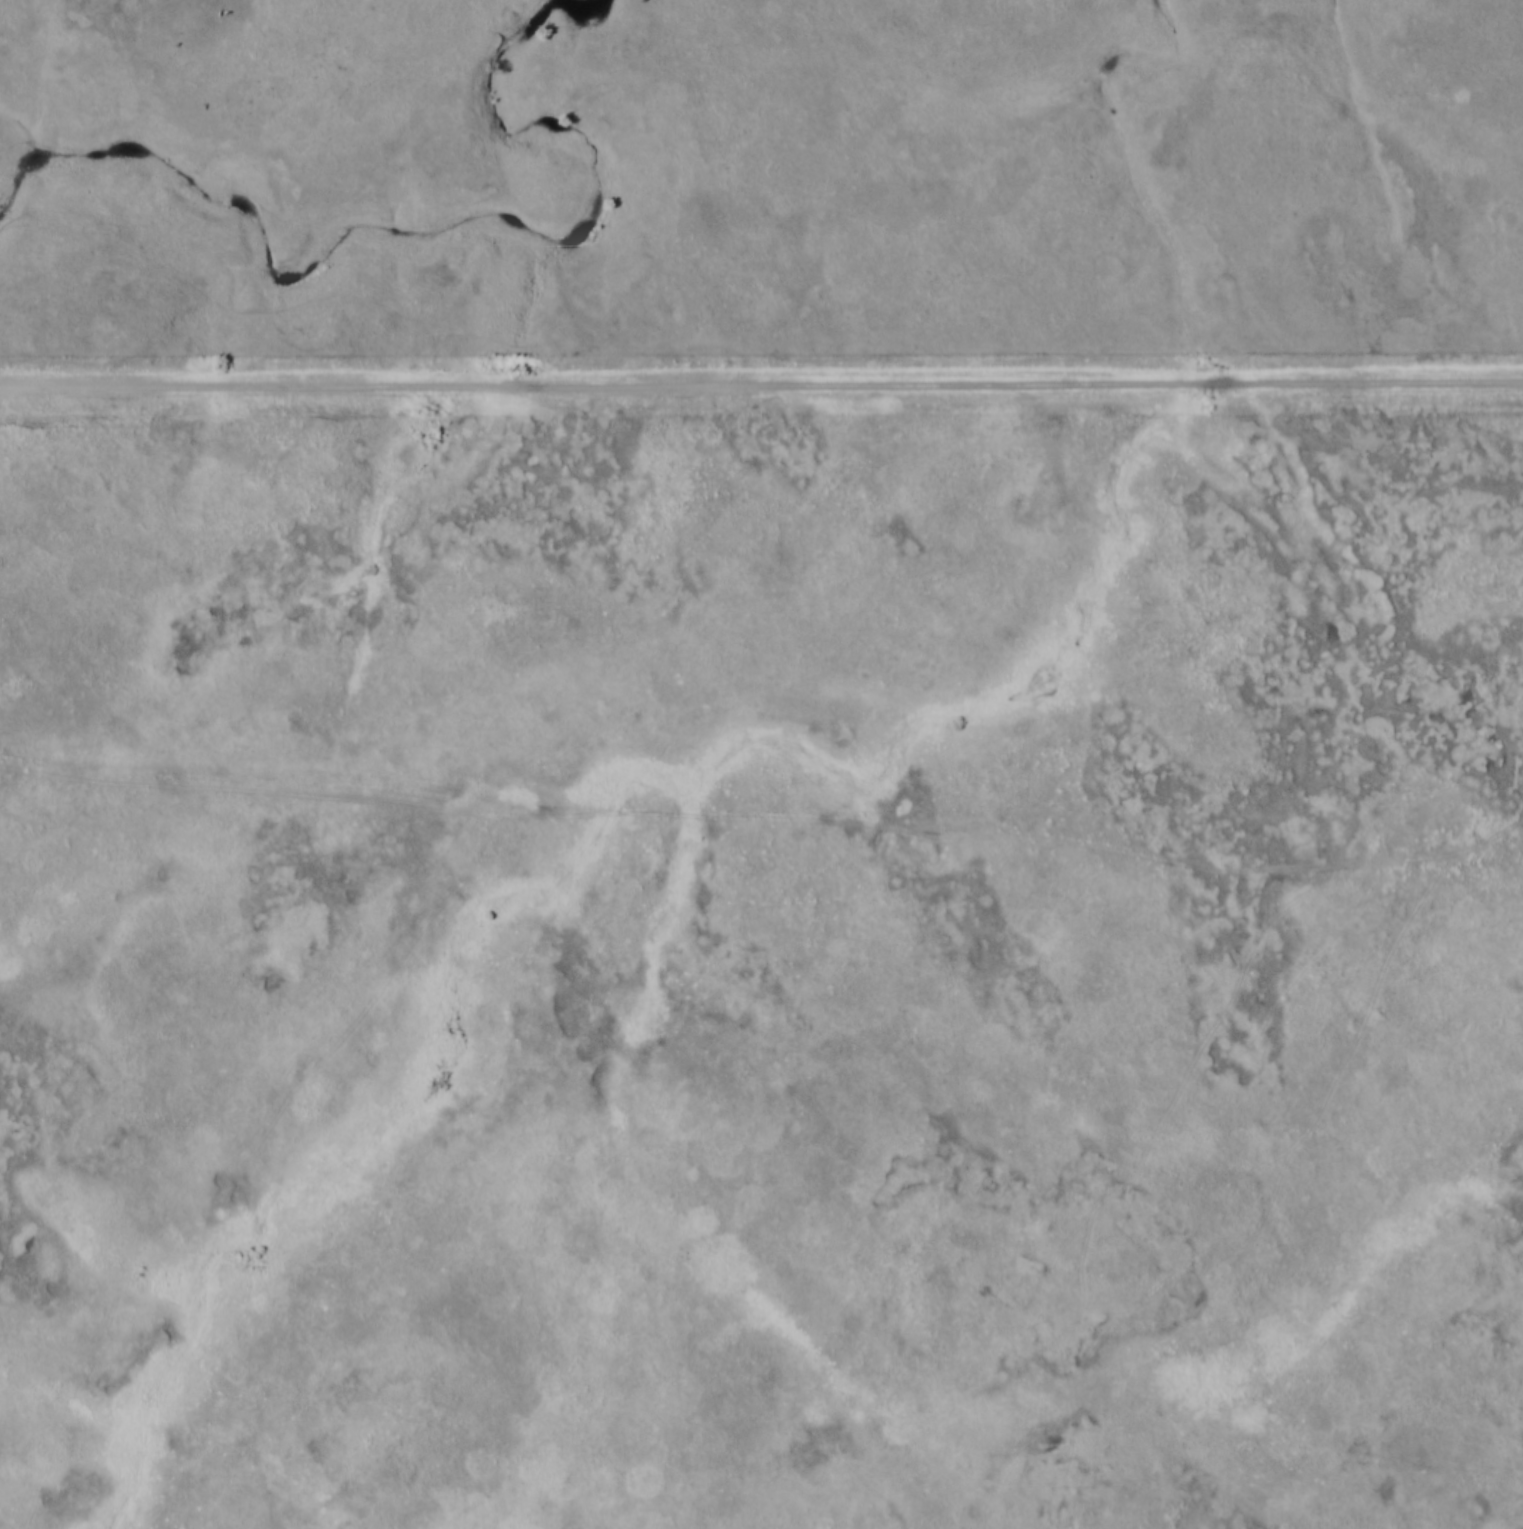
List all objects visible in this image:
road: (761, 392)
road: (765, 820)

